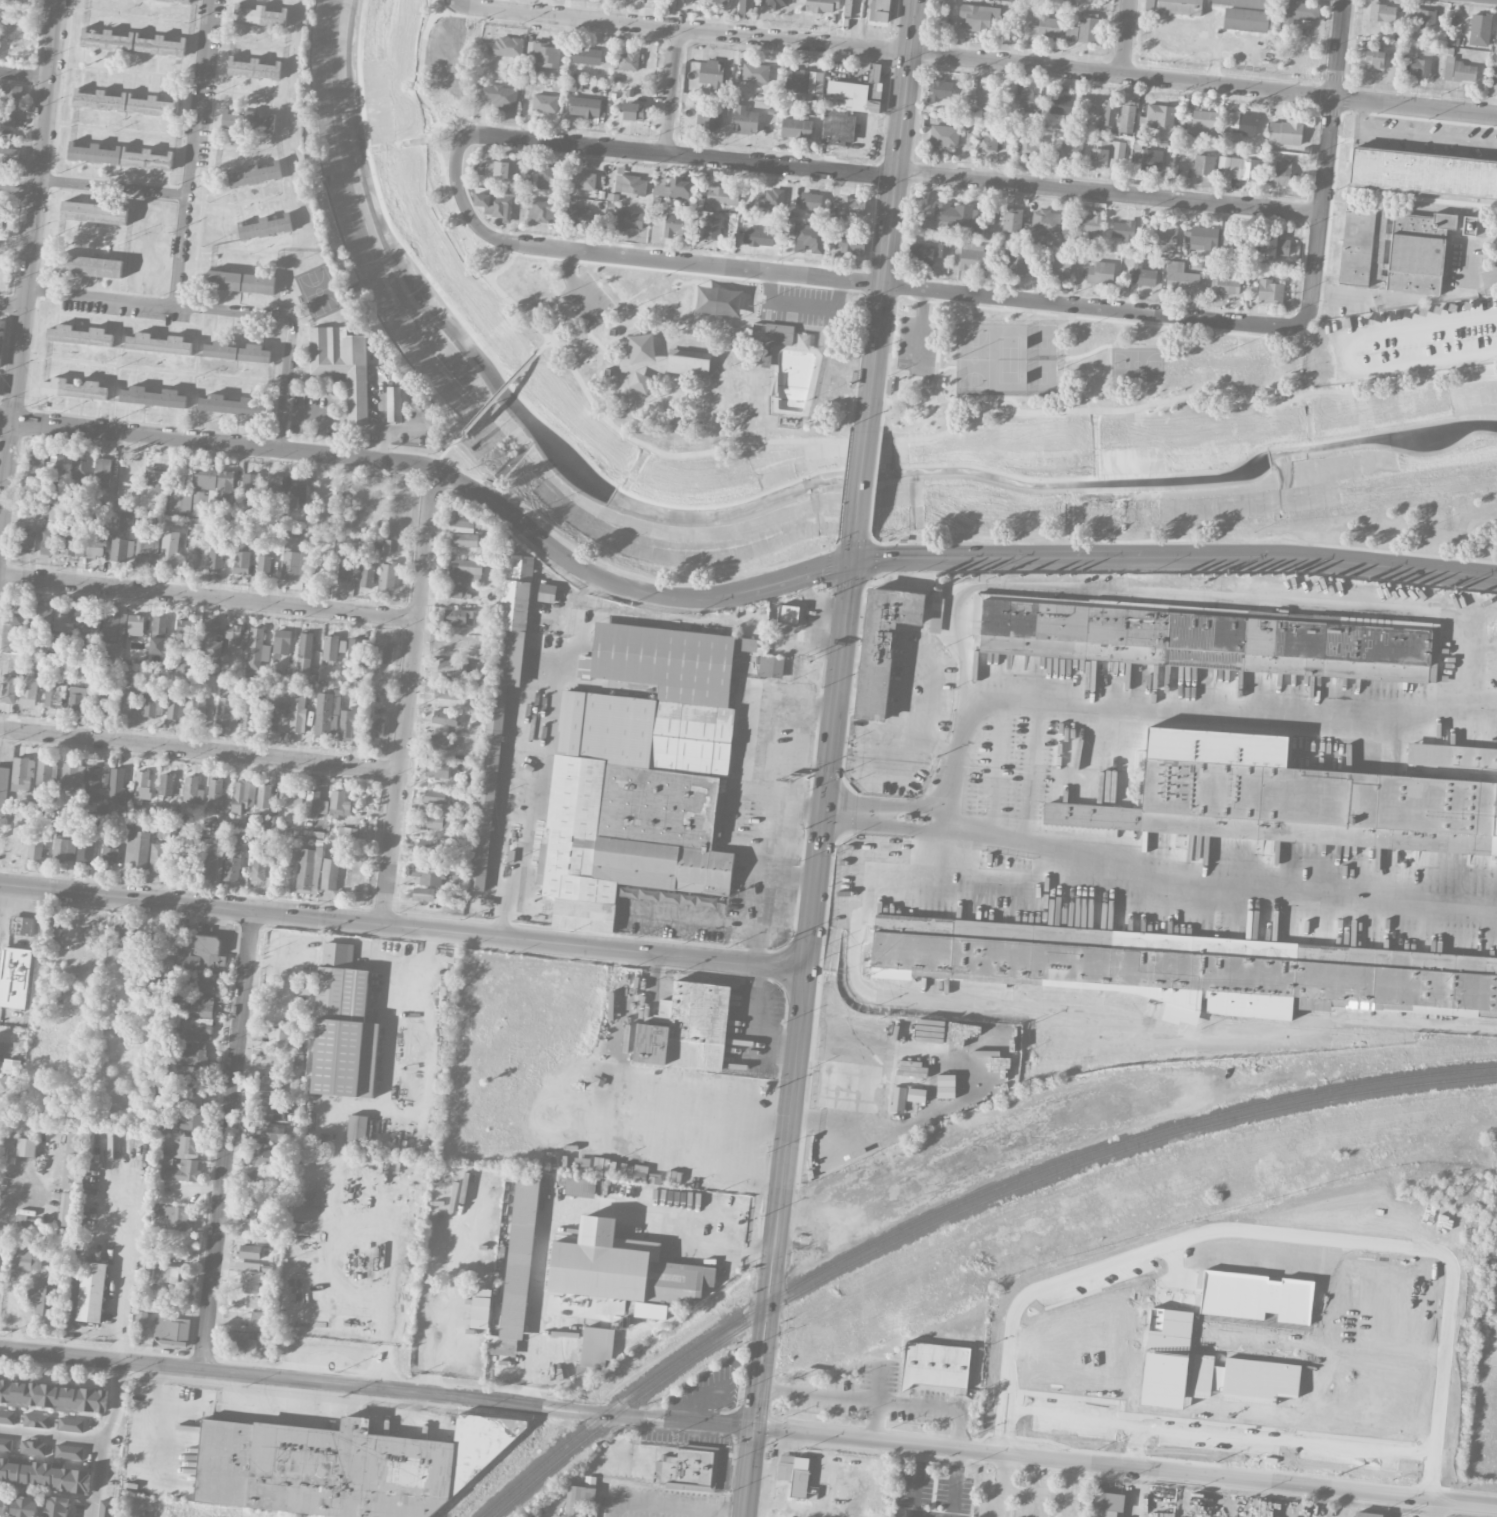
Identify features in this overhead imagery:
road: (1496, 0)
building: (176, 1)
building: (716, 1)
building: (776, 3)
building: (1243, 3)
building: (822, 5)
building: (1149, 5)
building: (1180, 6)
building: (745, 8)
building: (852, 8)
building: (879, 10)
building: (1298, 12)
building: (1382, 12)
building: (260, 16)
building: (980, 17)
building: (1424, 18)
building: (1249, 20)
building: (1046, 26)
building: (1088, 28)
building: (1479, 29)
building: (1071, 32)
road: (1127, 38)
building: (132, 43)
building: (506, 46)
building: (544, 53)
building: (585, 55)
building: (1269, 55)
road: (973, 59)
building: (1374, 59)
building: (628, 60)
building: (1420, 67)
building: (254, 69)
building: (1459, 70)
road: (125, 72)
building: (710, 72)
building: (755, 72)
road: (25, 75)
building: (1493, 76)
building: (942, 89)
building: (1491, 89)
road: (672, 92)
building: (855, 92)
building: (499, 96)
road: (197, 97)
building: (986, 97)
building: (544, 102)
building: (1025, 102)
building: (125, 103)
building: (1061, 104)
building: (584, 106)
building: (10, 107)
building: (632, 111)
building: (1109, 112)
building: (1127, 116)
building: (1158, 116)
building: (708, 119)
building: (745, 120)
building: (248, 121)
building: (1203, 123)
building: (837, 126)
building: (1240, 126)
building: (796, 127)
building: (1285, 132)
building: (944, 135)
road: (1418, 137)
building: (987, 141)
building: (1034, 148)
building: (1070, 151)
building: (1106, 153)
road: (681, 156)
building: (9, 157)
building: (119, 157)
road: (1327, 158)
building: (1152, 160)
building: (1204, 165)
building: (1240, 167)
building: (494, 168)
building: (1281, 172)
building: (1423, 173)
building: (254, 175)
building: (547, 177)
building: (581, 179)
building: (659, 183)
building: (630, 184)
road: (112, 187)
building: (680, 188)
road: (18, 191)
road: (1109, 193)
building: (719, 196)
building: (772, 198)
building: (810, 200)
building: (494, 205)
building: (851, 205)
building: (539, 209)
road: (34, 212)
road: (891, 212)
building: (94, 213)
building: (579, 214)
building: (947, 216)
building: (627, 219)
building: (975, 219)
building: (2, 220)
building: (1011, 222)
building: (1045, 222)
building: (674, 224)
building: (1090, 224)
building: (1469, 225)
building: (711, 226)
building: (265, 227)
building: (1123, 231)
building: (1166, 232)
building: (758, 236)
building: (809, 238)
building: (1201, 238)
building: (850, 244)
building: (1239, 244)
building: (1274, 247)
building: (1357, 247)
building: (941, 249)
road: (180, 250)
building: (1417, 252)
building: (921, 253)
building: (970, 257)
building: (1017, 262)
road: (506, 265)
building: (89, 266)
building: (1059, 267)
building: (1100, 273)
road: (357, 275)
building: (1143, 276)
building: (1181, 279)
road: (844, 281)
building: (241, 283)
building: (1224, 284)
road: (552, 286)
building: (1270, 290)
park: (412, 291)
road: (574, 291)
road: (1368, 294)
park: (719, 301)
parking lot: (584, 302)
building: (717, 304)
road: (803, 304)
parking lot: (801, 305)
road: (12, 306)
road: (225, 310)
road: (568, 322)
building: (774, 330)
building: (611, 331)
building: (79, 336)
road: (669, 340)
building: (1, 341)
park: (1037, 341)
building: (158, 344)
road: (544, 345)
road: (1111, 345)
parking lot: (917, 346)
building: (639, 348)
road: (917, 349)
building: (236, 352)
park: (683, 352)
road: (1060, 357)
park: (973, 359)
park: (1006, 359)
building: (687, 362)
park: (1137, 363)
building: (342, 365)
building: (606, 371)
park: (1065, 371)
building: (789, 375)
road: (935, 376)
park: (1037, 377)
building: (640, 382)
building: (74, 389)
road: (501, 391)
building: (153, 397)
building: (394, 404)
road: (947, 404)
building: (231, 406)
road: (5, 423)
road: (812, 439)
road: (448, 448)
road: (284, 450)
building: (36, 462)
building: (55, 466)
building: (81, 471)
road: (5, 473)
building: (102, 473)
building: (155, 478)
road: (860, 482)
building: (203, 484)
building: (224, 485)
building: (251, 487)
building: (276, 488)
building: (298, 493)
building: (348, 494)
building: (180, 504)
building: (464, 520)
building: (126, 521)
building: (49, 525)
building: (465, 540)
building: (26, 542)
building: (96, 544)
building: (72, 546)
building: (390, 546)
building: (119, 547)
building: (169, 549)
building: (217, 552)
road: (1174, 557)
building: (241, 560)
traffic signals: (851, 563)
building: (264, 566)
building: (293, 566)
building: (521, 567)
building: (346, 568)
building: (316, 570)
building: (465, 570)
building: (367, 575)
building: (387, 576)
building: (457, 591)
building: (546, 592)
road: (208, 597)
road: (688, 598)
building: (937, 604)
building: (1146, 606)
building: (788, 614)
building: (457, 616)
building: (40, 620)
building: (89, 622)
building: (114, 626)
building: (136, 626)
building: (13, 628)
building: (158, 636)
building: (210, 638)
building: (236, 638)
building: (1197, 639)
building: (282, 642)
building: (746, 644)
building: (342, 646)
building: (882, 646)
building: (185, 647)
building: (330, 648)
building: (257, 649)
building: (358, 650)
road: (961, 651)
building: (382, 652)
building: (304, 655)
building: (452, 666)
building: (770, 667)
building: (9, 689)
building: (28, 691)
building: (446, 691)
building: (55, 694)
road: (408, 697)
building: (77, 698)
building: (100, 704)
building: (126, 704)
building: (153, 705)
building: (299, 708)
building: (178, 709)
building: (500, 709)
building: (198, 711)
building: (251, 711)
building: (227, 712)
building: (326, 712)
building: (277, 717)
building: (444, 718)
building: (350, 725)
building: (374, 729)
building: (453, 729)
building: (441, 741)
road: (200, 750)
road: (818, 753)
building: (1452, 756)
building: (437, 769)
building: (105, 773)
building: (44, 774)
building: (638, 774)
building: (21, 775)
building: (72, 777)
building: (92, 780)
building: (117, 784)
building: (143, 785)
building: (166, 785)
building: (192, 791)
building: (216, 793)
building: (3, 796)
building: (242, 796)
building: (263, 797)
building: (292, 798)
building: (435, 798)
building: (1282, 801)
building: (339, 802)
road: (947, 802)
building: (315, 805)
road: (811, 806)
traffic signals: (825, 808)
road: (885, 813)
road: (503, 818)
building: (221, 820)
building: (437, 821)
road: (793, 829)
building: (169, 834)
building: (347, 834)
building: (242, 838)
building: (433, 845)
building: (12, 846)
building: (35, 848)
building: (63, 848)
building: (137, 849)
building: (105, 852)
building: (85, 854)
building: (1249, 854)
building: (157, 857)
building: (185, 858)
building: (210, 863)
building: (231, 865)
building: (259, 866)
building: (307, 869)
building: (429, 873)
building: (329, 874)
building: (459, 881)
building: (424, 894)
building: (678, 897)
road: (798, 915)
road: (696, 918)
building: (21, 926)
road: (404, 926)
building: (49, 929)
building: (129, 934)
road: (350, 941)
building: (201, 955)
building: (165, 967)
building: (1191, 968)
building: (15, 978)
building: (205, 983)
road: (871, 995)
building: (201, 1007)
railway: (1415, 1014)
railway: (1216, 1018)
railway: (1415, 1024)
building: (343, 1028)
building: (685, 1028)
road: (800, 1028)
building: (199, 1029)
railway: (1344, 1030)
building: (0, 1040)
building: (275, 1040)
building: (193, 1054)
building: (11, 1066)
building: (189, 1077)
building: (268, 1084)
building: (274, 1096)
building: (192, 1098)
building: (897, 1099)
building: (190, 1121)
building: (270, 1132)
building: (356, 1133)
road: (225, 1140)
building: (188, 1145)
building: (26, 1148)
building: (262, 1157)
building: (74, 1158)
building: (180, 1171)
building: (261, 1179)
building: (581, 1186)
building: (255, 1205)
railway: (950, 1206)
building: (67, 1209)
road: (593, 1210)
railway: (958, 1212)
building: (175, 1218)
road: (384, 1222)
road: (1251, 1230)
building: (249, 1252)
building: (621, 1269)
building: (164, 1275)
building: (249, 1276)
road: (126, 1279)
building: (91, 1292)
building: (44, 1295)
building: (479, 1308)
building: (650, 1311)
building: (260, 1321)
building: (171, 1331)
building: (238, 1341)
building: (503, 1350)
building: (594, 1350)
building: (934, 1365)
road: (528, 1370)
road: (117, 1384)
building: (52, 1396)
road: (526, 1397)
road: (875, 1401)
building: (7, 1417)
building: (36, 1420)
road: (875, 1421)
building: (71, 1424)
road: (748, 1427)
road: (1221, 1431)
road: (52, 1437)
building: (5, 1445)
road: (1137, 1445)
building: (33, 1448)
building: (69, 1452)
road: (98, 1460)
building: (344, 1466)
building: (686, 1469)
building: (8, 1472)
building: (794, 1473)
road: (1434, 1476)
building: (54, 1477)
road: (953, 1483)
road: (915, 1484)
road: (1003, 1485)
road: (1215, 1485)
road: (1043, 1492)
road: (1138, 1492)
road: (1234, 1497)
building: (578, 1500)
building: (1, 1504)
building: (1107, 1504)
building: (24, 1505)
building: (54, 1507)
road: (674, 1508)
road: (1431, 1508)
building: (104, 1509)
building: (1366, 1514)

